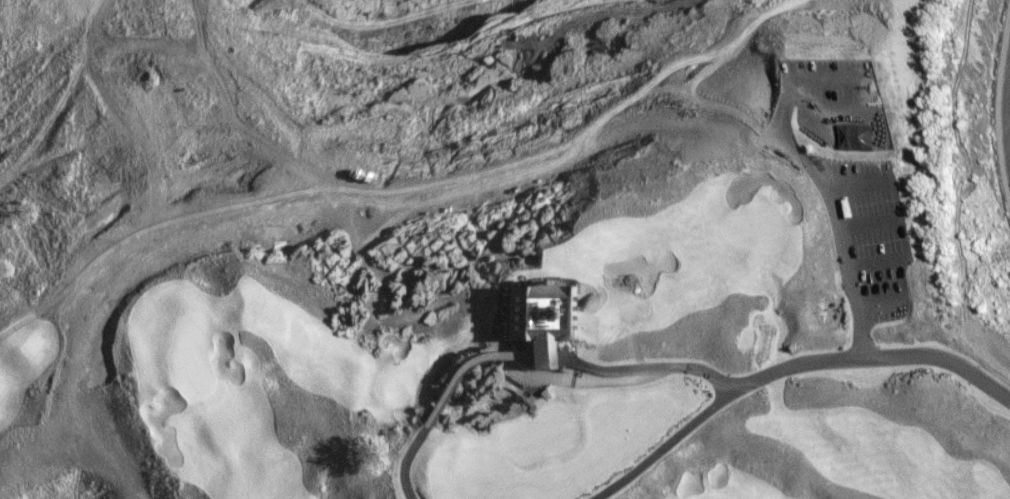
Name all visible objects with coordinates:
road: (689, 58)
road: (876, 79)
road: (1005, 114)
building: (864, 136)
road: (515, 169)
road: (857, 183)
road: (869, 226)
road: (837, 228)
road: (126, 233)
park: (490, 243)
road: (877, 266)
road: (880, 302)
building: (542, 311)
road: (46, 312)
road: (531, 356)
road: (800, 364)
road: (673, 445)

